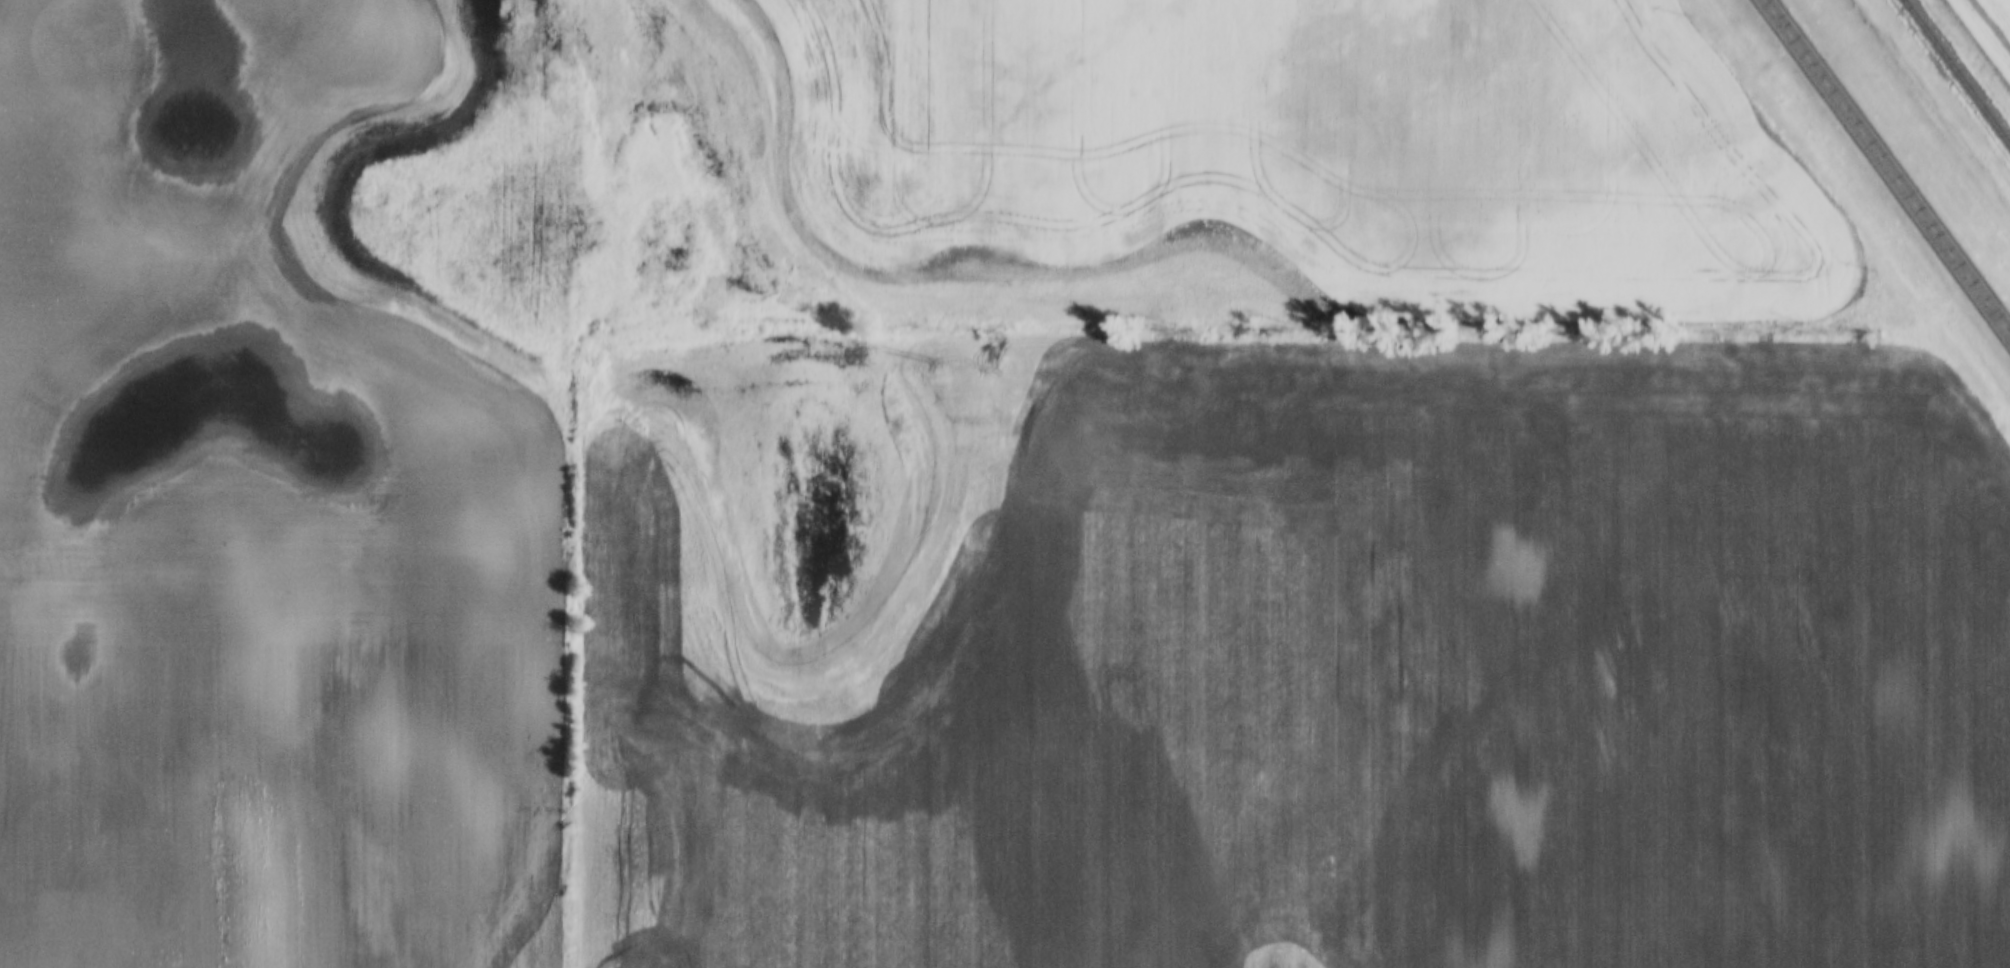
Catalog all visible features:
railway: (1955, 73)
road: (1886, 167)

